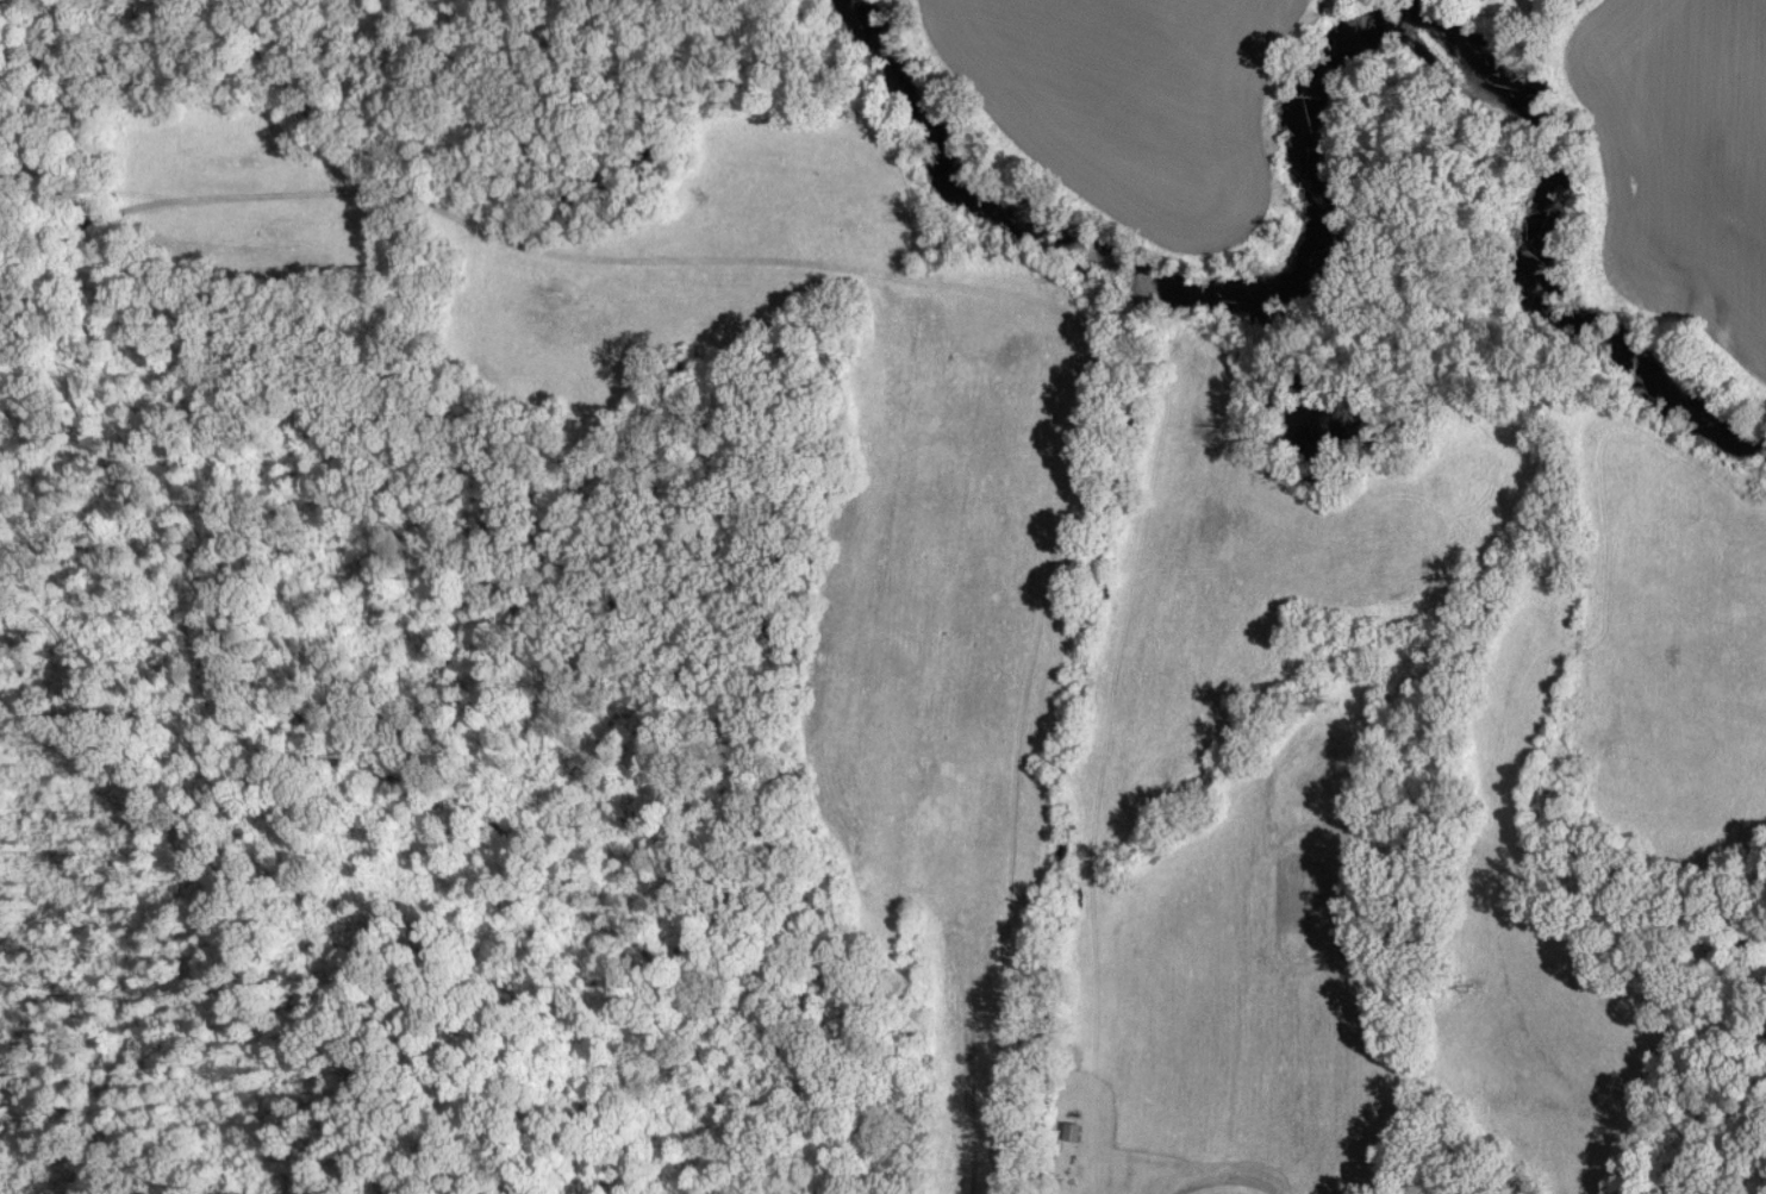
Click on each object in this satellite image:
river: (1319, 99)

